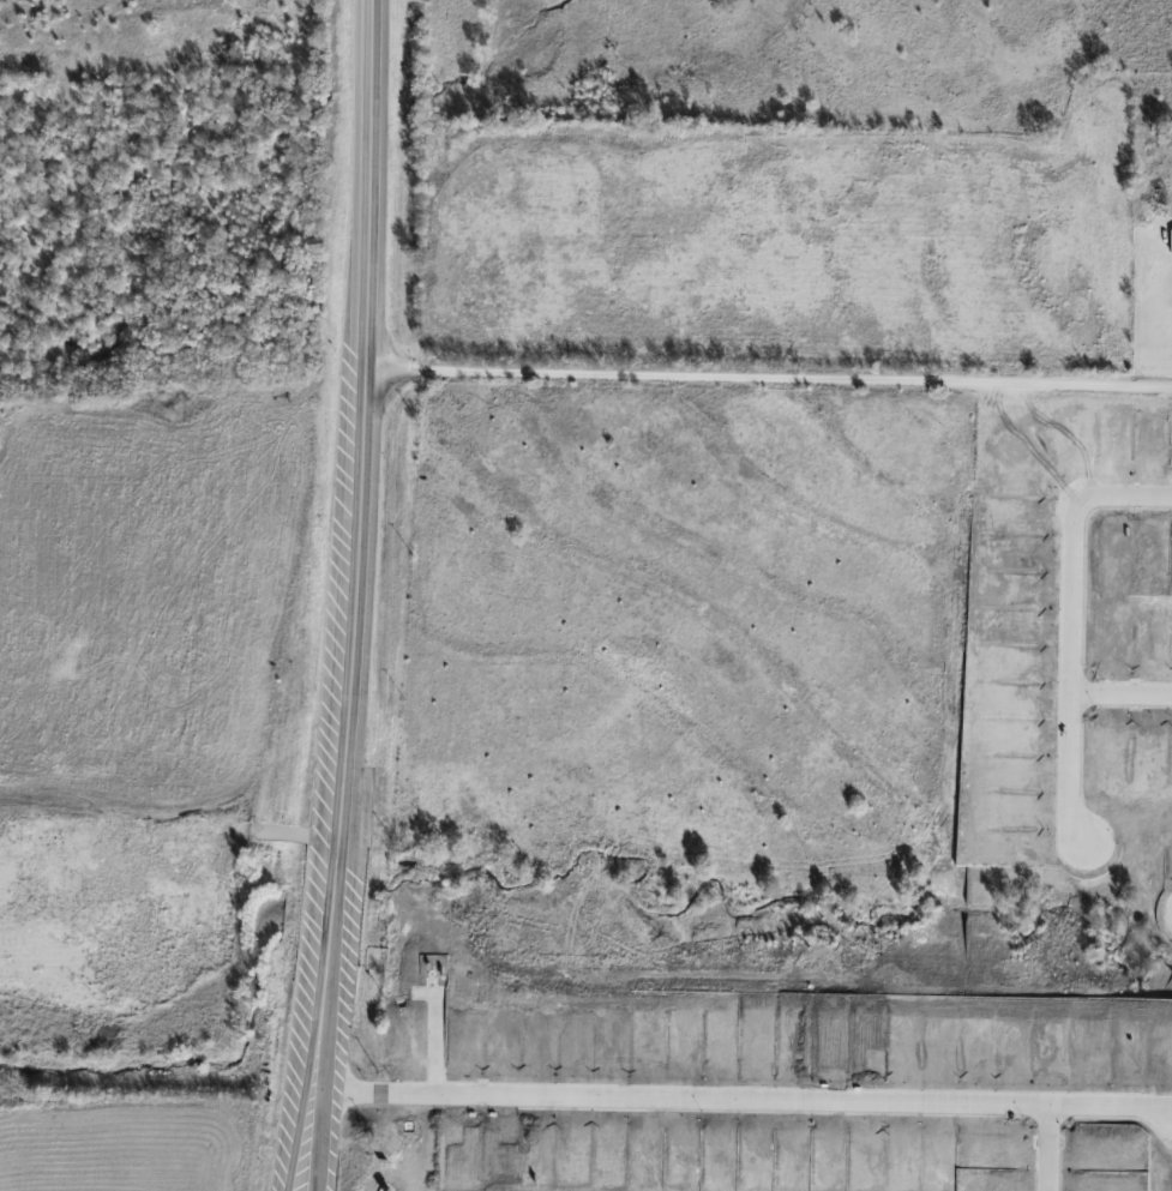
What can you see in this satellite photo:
building: (1153, 190)
building: (1170, 241)
road: (597, 375)
road: (1124, 495)
road: (350, 501)
road: (1070, 672)
road: (1120, 693)
road: (319, 1049)
road: (295, 1095)
road: (744, 1102)
road: (312, 1144)
road: (1040, 1148)

